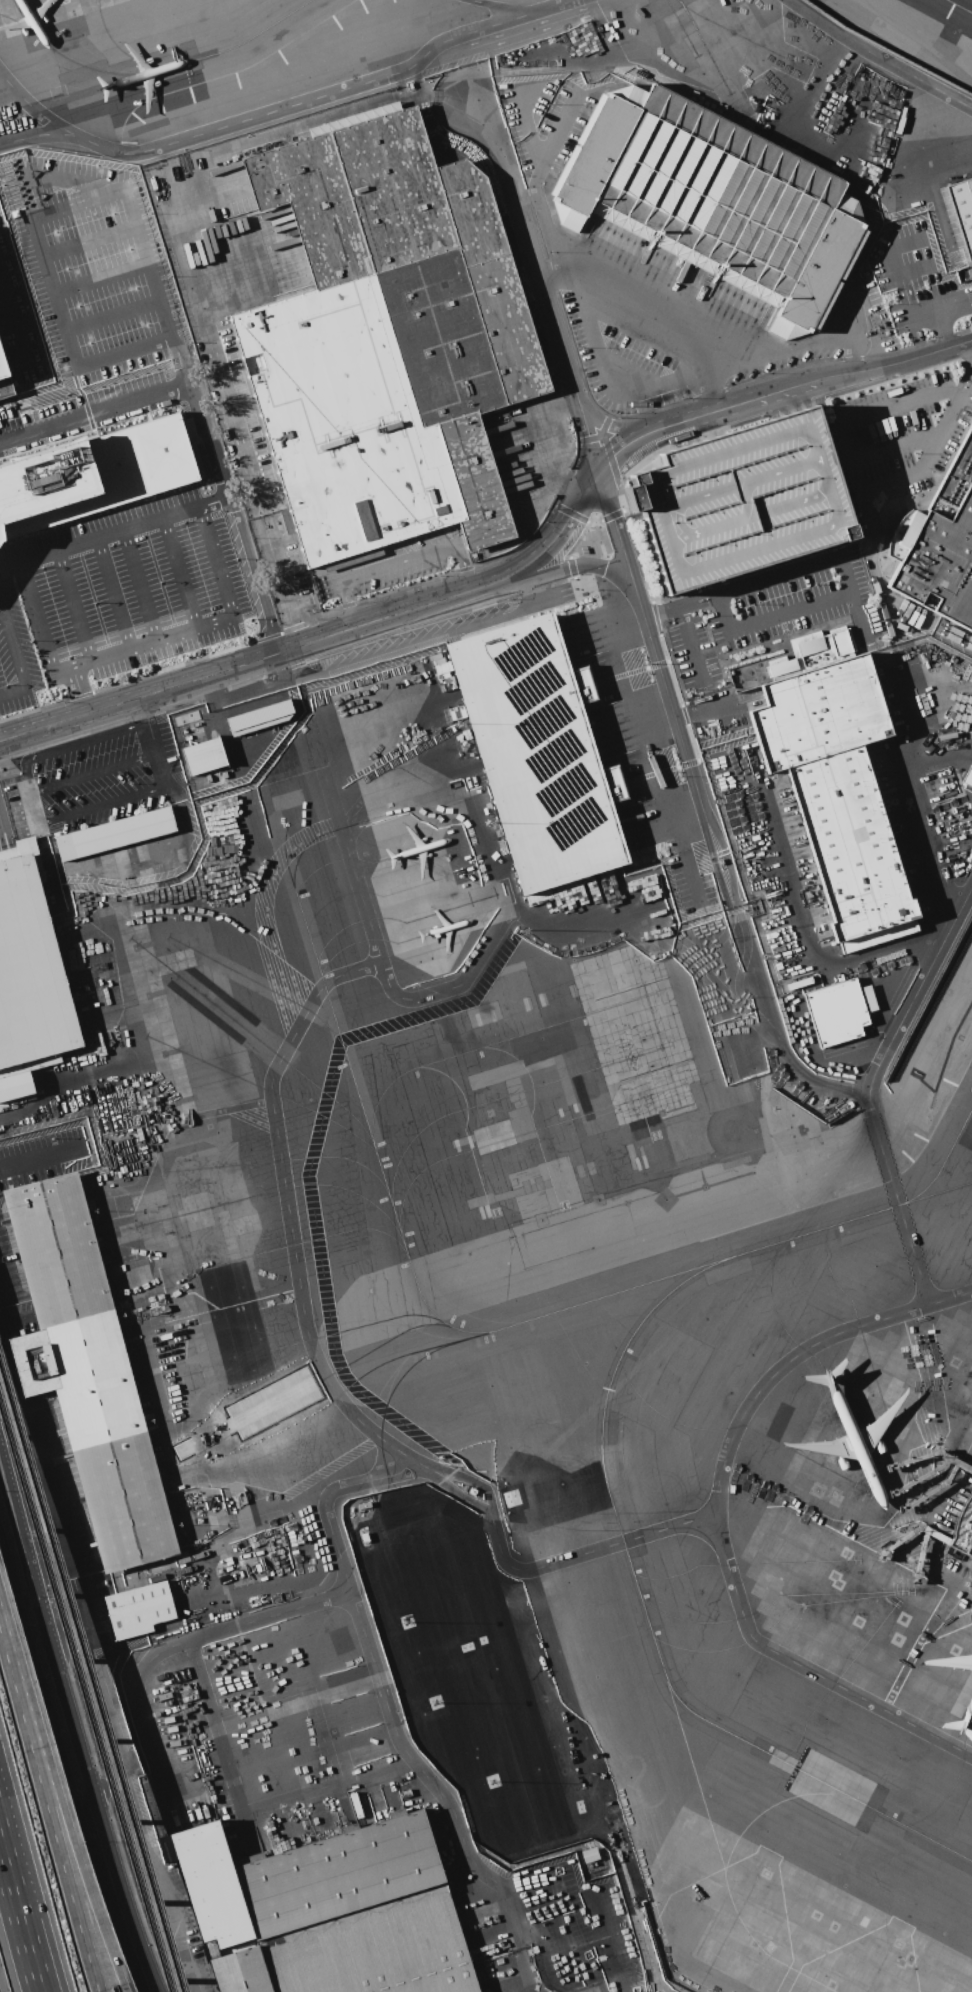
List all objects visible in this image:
road: (497, 6)
airport apron: (44, 13)
airport taxiway: (699, 37)
airport taxiway: (212, 52)
road: (879, 57)
road: (9, 96)
road: (445, 97)
road: (30, 106)
road: (285, 106)
road: (524, 107)
road: (538, 149)
road: (554, 152)
parking lot: (521, 156)
road: (20, 176)
building: (713, 196)
road: (75, 203)
building: (962, 211)
road: (171, 213)
road: (548, 233)
road: (86, 239)
road: (98, 278)
road: (619, 304)
road: (945, 308)
road: (109, 316)
road: (554, 323)
building: (385, 340)
road: (970, 345)
road: (766, 354)
road: (891, 363)
road: (603, 369)
building: (4, 382)
road: (968, 386)
road: (781, 388)
road: (89, 406)
road: (721, 406)
road: (604, 424)
road: (640, 436)
road: (197, 439)
road: (896, 444)
road: (850, 465)
building: (92, 473)
building: (739, 500)
parking lot: (739, 500)
building: (938, 544)
road: (28, 556)
road: (393, 560)
road: (9, 565)
road: (580, 566)
road: (177, 575)
road: (241, 577)
road: (771, 578)
road: (505, 579)
road: (277, 580)
road: (138, 587)
road: (112, 595)
road: (74, 607)
road: (673, 608)
road: (788, 613)
road: (209, 629)
road: (329, 633)
road: (649, 639)
road: (414, 640)
road: (689, 643)
road: (14, 660)
road: (217, 671)
road: (700, 712)
building: (257, 716)
road: (69, 717)
building: (184, 717)
road: (146, 724)
road: (70, 745)
building: (537, 752)
building: (201, 755)
building: (967, 775)
building: (199, 782)
building: (835, 792)
road: (918, 810)
road: (701, 819)
road: (38, 826)
building: (113, 832)
road: (682, 846)
building: (28, 976)
road: (457, 981)
airport: (488, 990)
building: (837, 1009)
road: (796, 1069)
road: (270, 1074)
road: (870, 1087)
airport apron: (366, 1093)
road: (38, 1170)
airport taxiway: (934, 1193)
airport taxiway: (401, 1240)
airport taxiway: (450, 1341)
building: (84, 1371)
airport taxiway: (602, 1473)
road: (0, 1499)
road: (5, 1517)
road: (717, 1517)
road: (306, 1522)
airport apron: (879, 1528)
airport terminal: (961, 1533)
building: (961, 1533)
road: (17, 1560)
road: (514, 1595)
building: (137, 1608)
road: (31, 1612)
road: (225, 1627)
road: (43, 1654)
airport apron: (476, 1675)
railway: (89, 1681)
road: (56, 1699)
railway: (84, 1699)
road: (687, 1736)
road: (416, 1742)
road: (73, 1759)
road: (438, 1791)
road: (61, 1812)
road: (88, 1813)
road: (46, 1818)
road: (145, 1854)
building: (587, 1854)
road: (36, 1902)
road: (634, 1910)
building: (324, 1912)
road: (119, 1913)
road: (19, 1923)
airport apron: (780, 1925)

